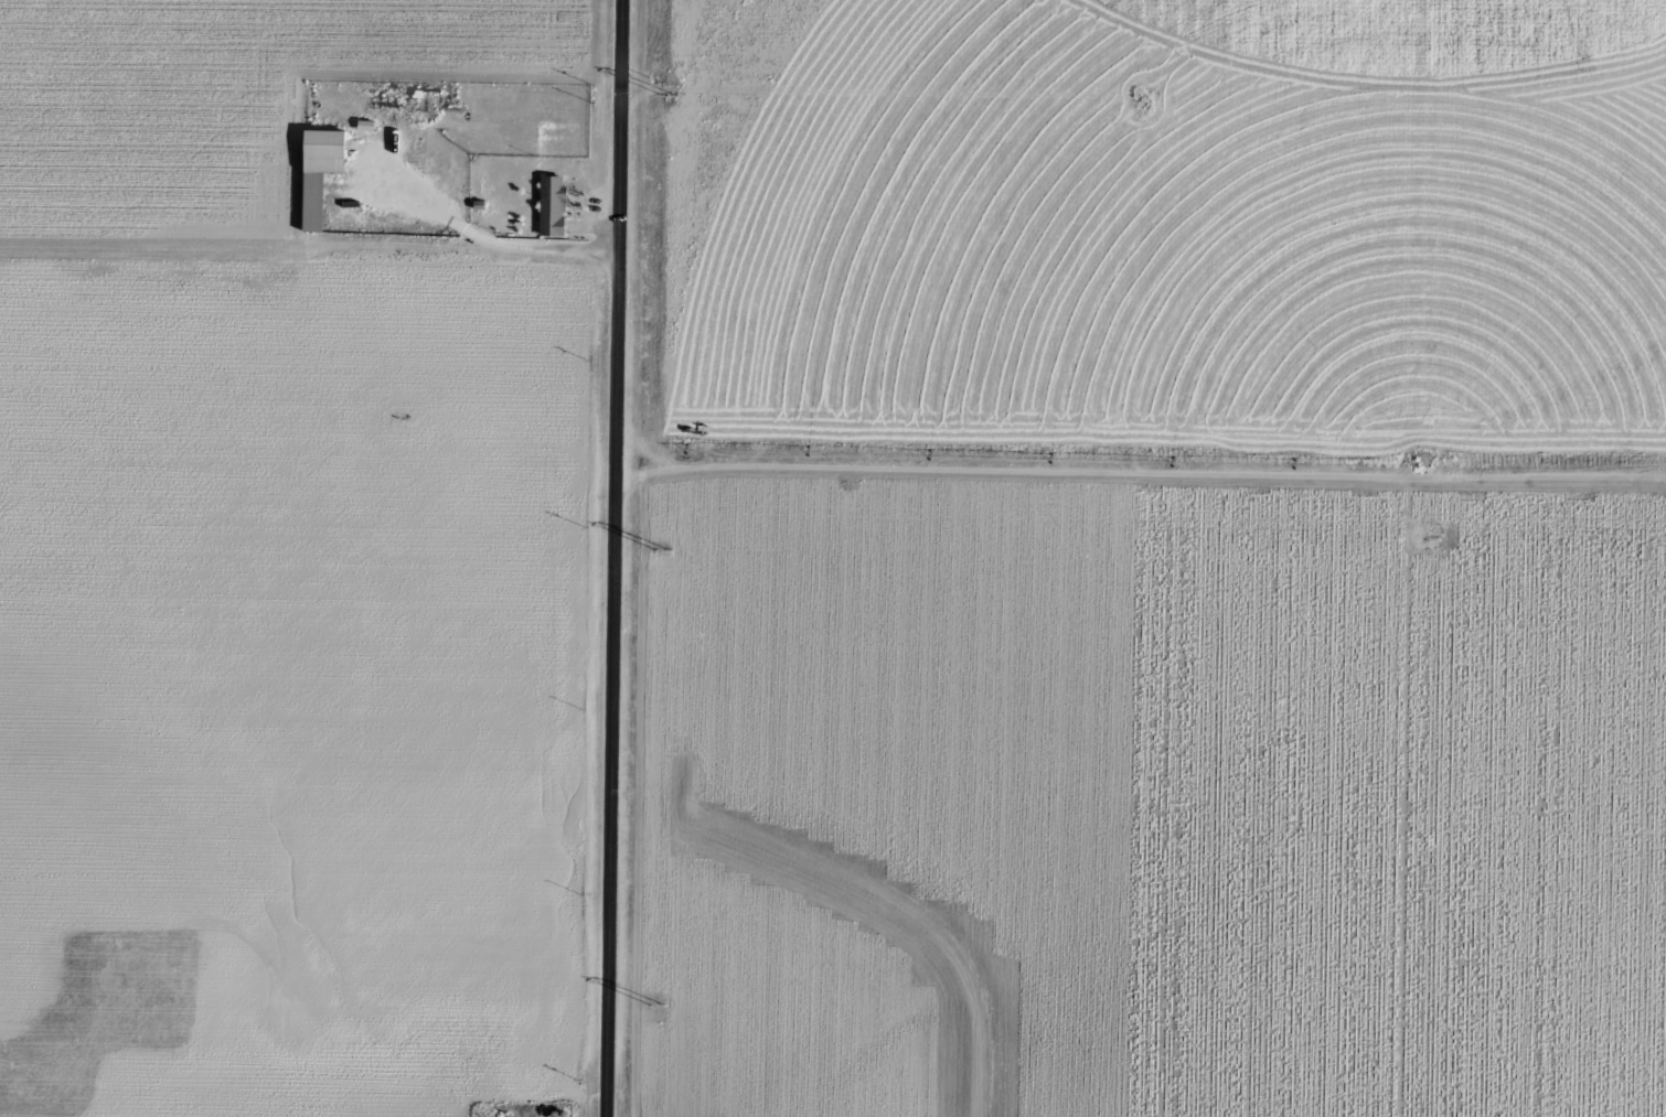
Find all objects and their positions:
power tower: (671, 94)
building: (552, 205)
road: (316, 253)
road: (1149, 471)
power tower: (663, 549)
road: (629, 558)
power tower: (660, 1003)

